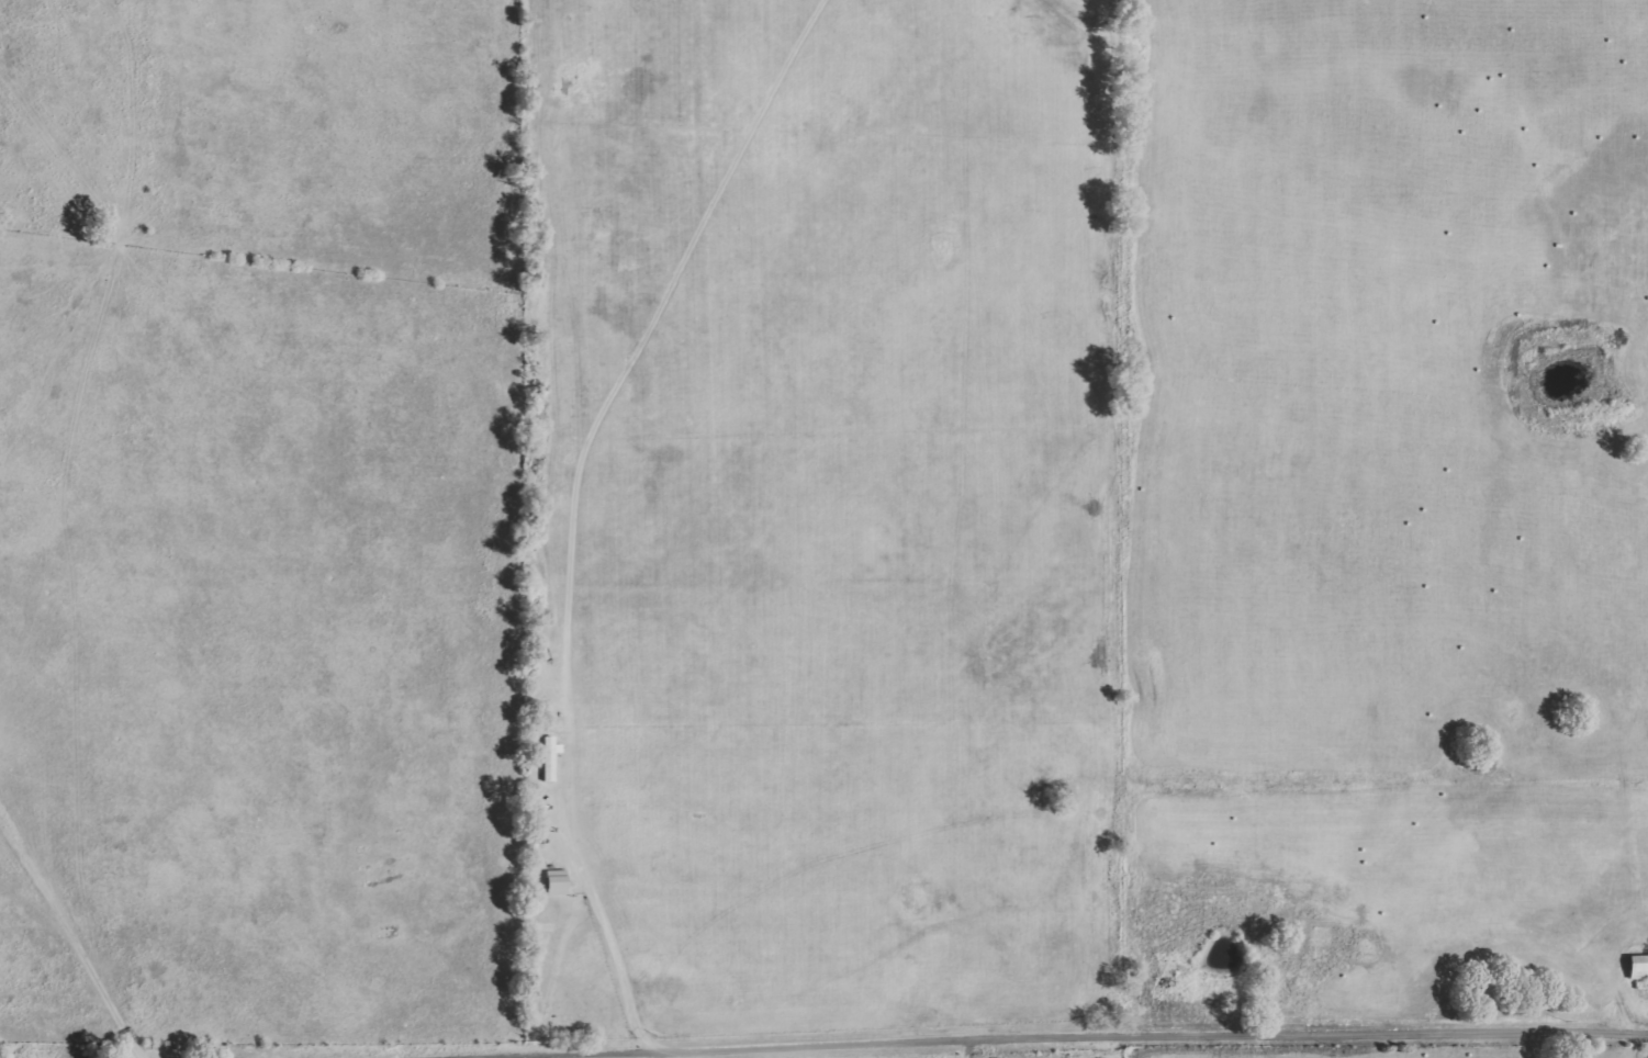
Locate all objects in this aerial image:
road: (74, 921)
road: (610, 927)
building: (1638, 967)
road: (1087, 1042)
road: (975, 1050)

